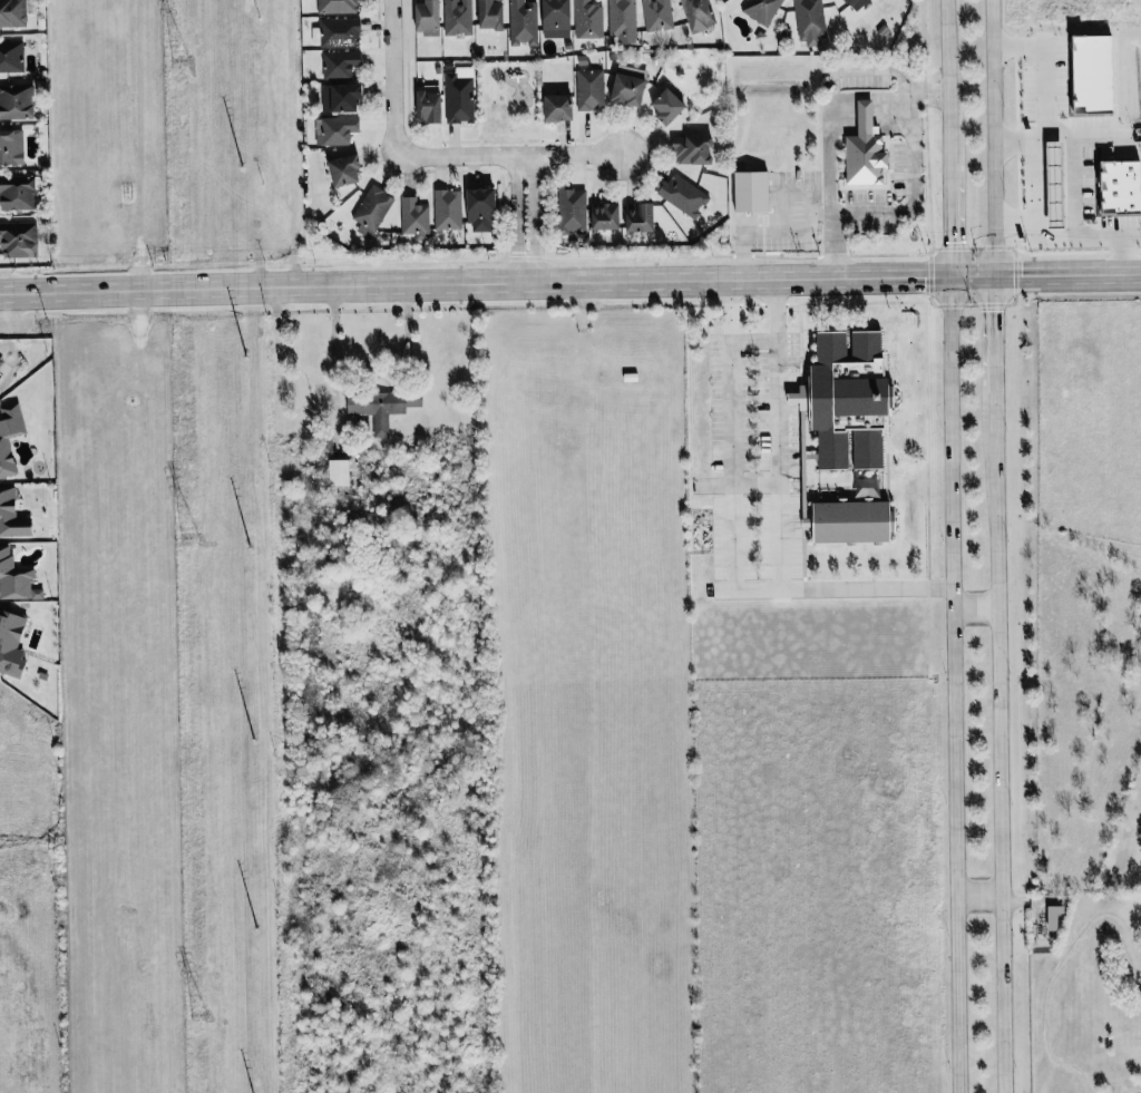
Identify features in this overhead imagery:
building: (857, 3)
building: (337, 6)
building: (761, 9)
building: (12, 13)
building: (490, 14)
building: (656, 14)
building: (696, 14)
building: (427, 17)
building: (457, 17)
building: (621, 17)
building: (556, 19)
building: (587, 19)
building: (523, 21)
building: (810, 22)
building: (339, 32)
building: (11, 56)
power tower: (181, 56)
building: (340, 64)
road: (393, 78)
road: (945, 82)
building: (589, 89)
building: (628, 89)
road: (928, 94)
building: (458, 96)
building: (341, 97)
road: (1047, 97)
building: (16, 101)
park: (507, 103)
building: (429, 106)
building: (669, 106)
building: (558, 107)
road: (828, 118)
building: (334, 130)
road: (993, 138)
building: (11, 147)
building: (693, 149)
building: (866, 149)
road: (514, 156)
building: (345, 170)
road: (910, 176)
building: (752, 191)
building: (17, 192)
building: (683, 195)
road: (1038, 207)
building: (448, 208)
building: (372, 209)
building: (481, 209)
building: (572, 211)
building: (605, 215)
building: (640, 216)
building: (413, 217)
road: (514, 222)
road: (533, 222)
road: (947, 222)
road: (772, 233)
road: (1095, 237)
building: (17, 240)
road: (570, 286)
road: (994, 333)
road: (752, 339)
road: (333, 345)
building: (415, 399)
building: (843, 399)
building: (377, 408)
road: (778, 433)
building: (6, 455)
building: (339, 472)
road: (757, 481)
building: (11, 515)
building: (854, 521)
power tower: (189, 537)
road: (735, 541)
building: (16, 579)
road: (974, 605)
building: (11, 644)
road: (952, 685)
road: (997, 740)
road: (977, 897)
building: (1053, 917)
road: (1057, 966)
park: (1090, 999)
power tower: (198, 1015)
road: (1132, 1091)

